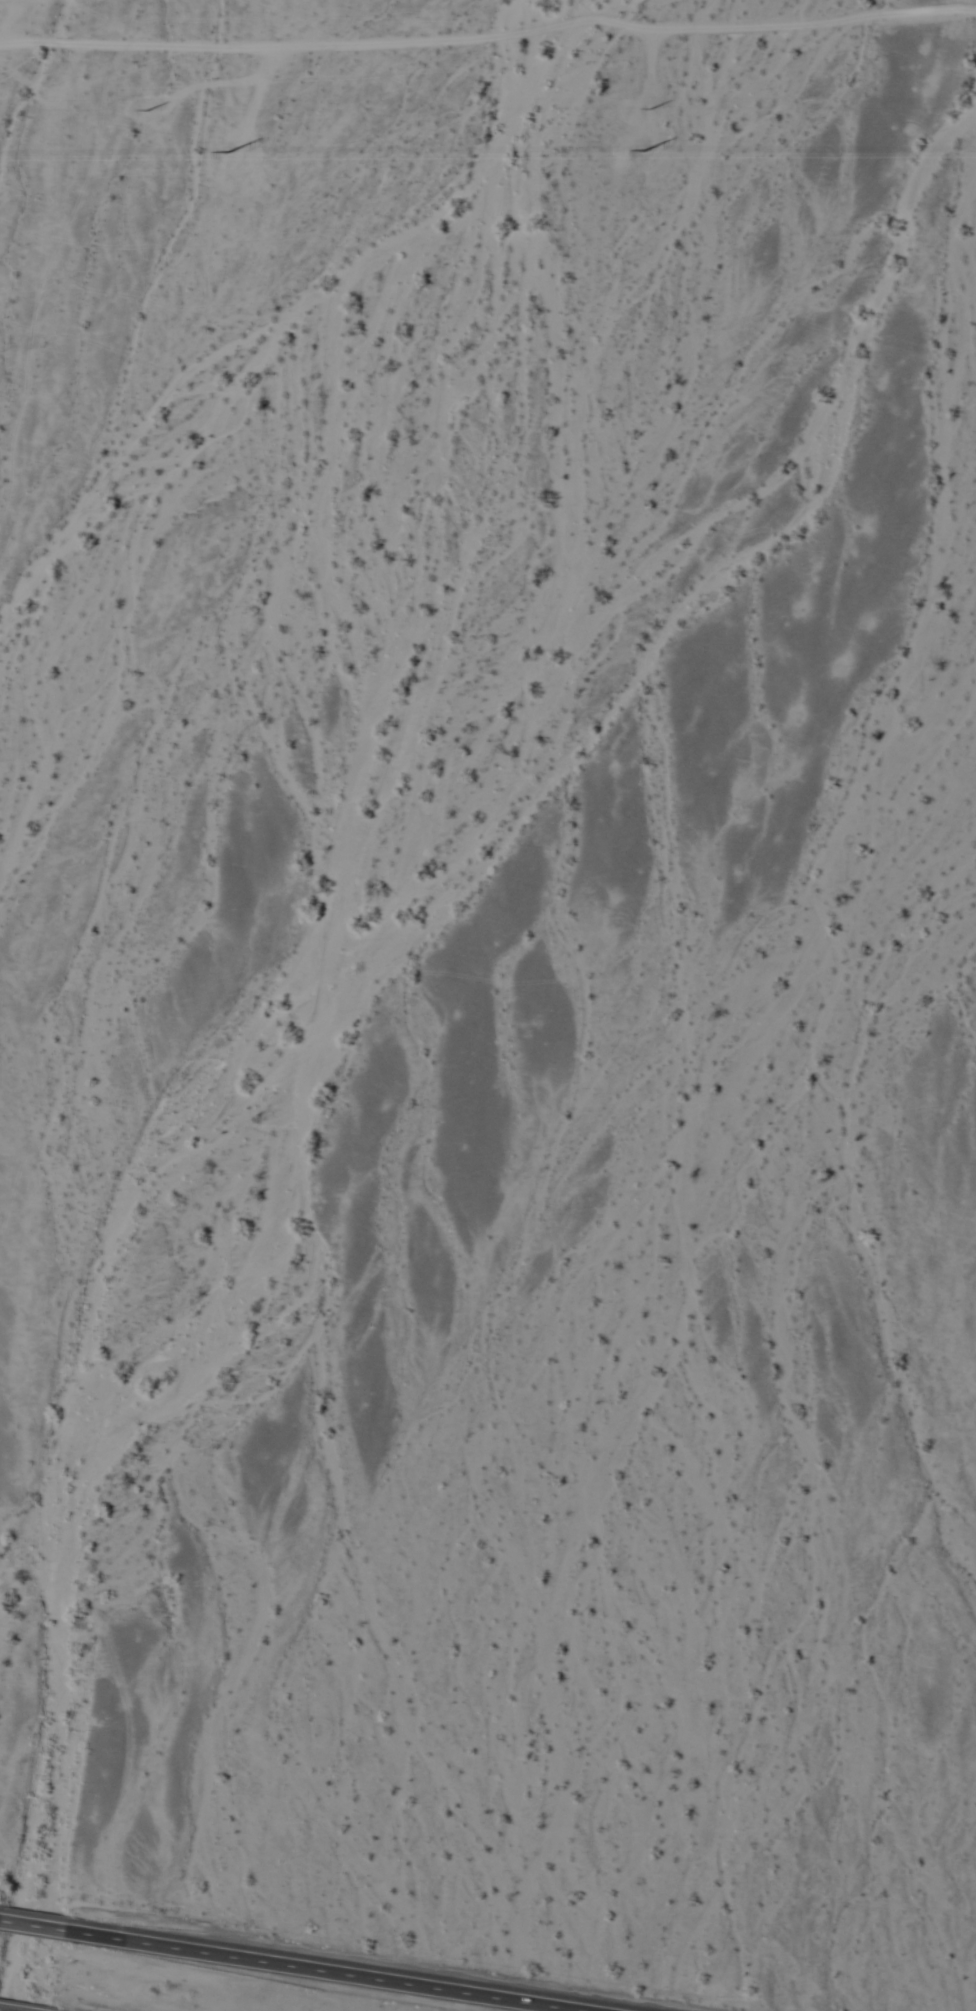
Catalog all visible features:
road: (304, 1963)

